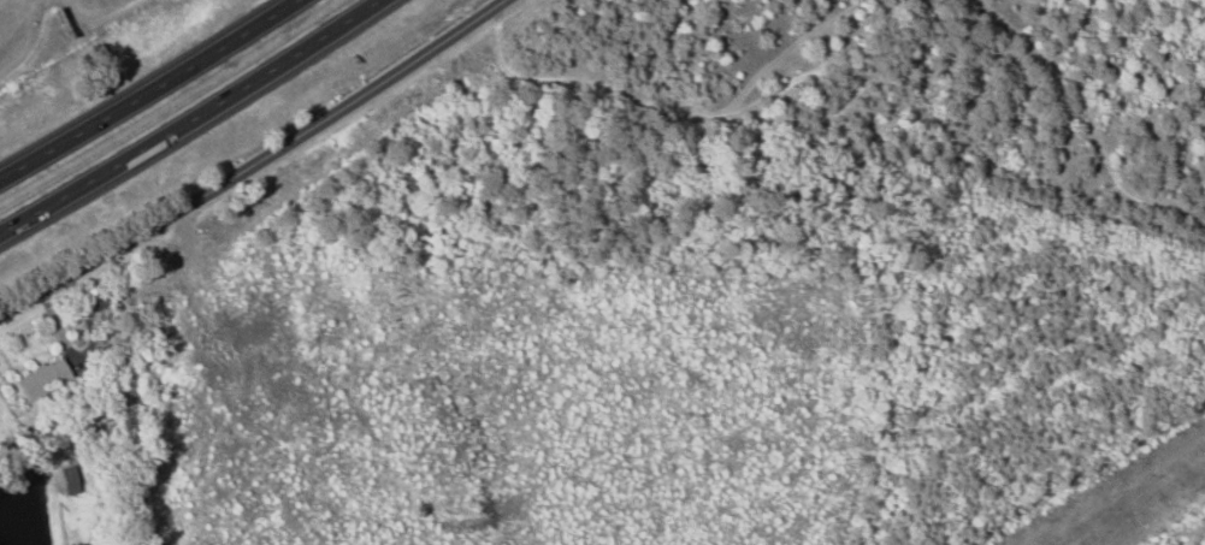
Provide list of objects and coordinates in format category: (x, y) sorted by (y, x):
road: (154, 91)
road: (190, 124)
road: (254, 161)
building: (39, 378)
building: (69, 479)

